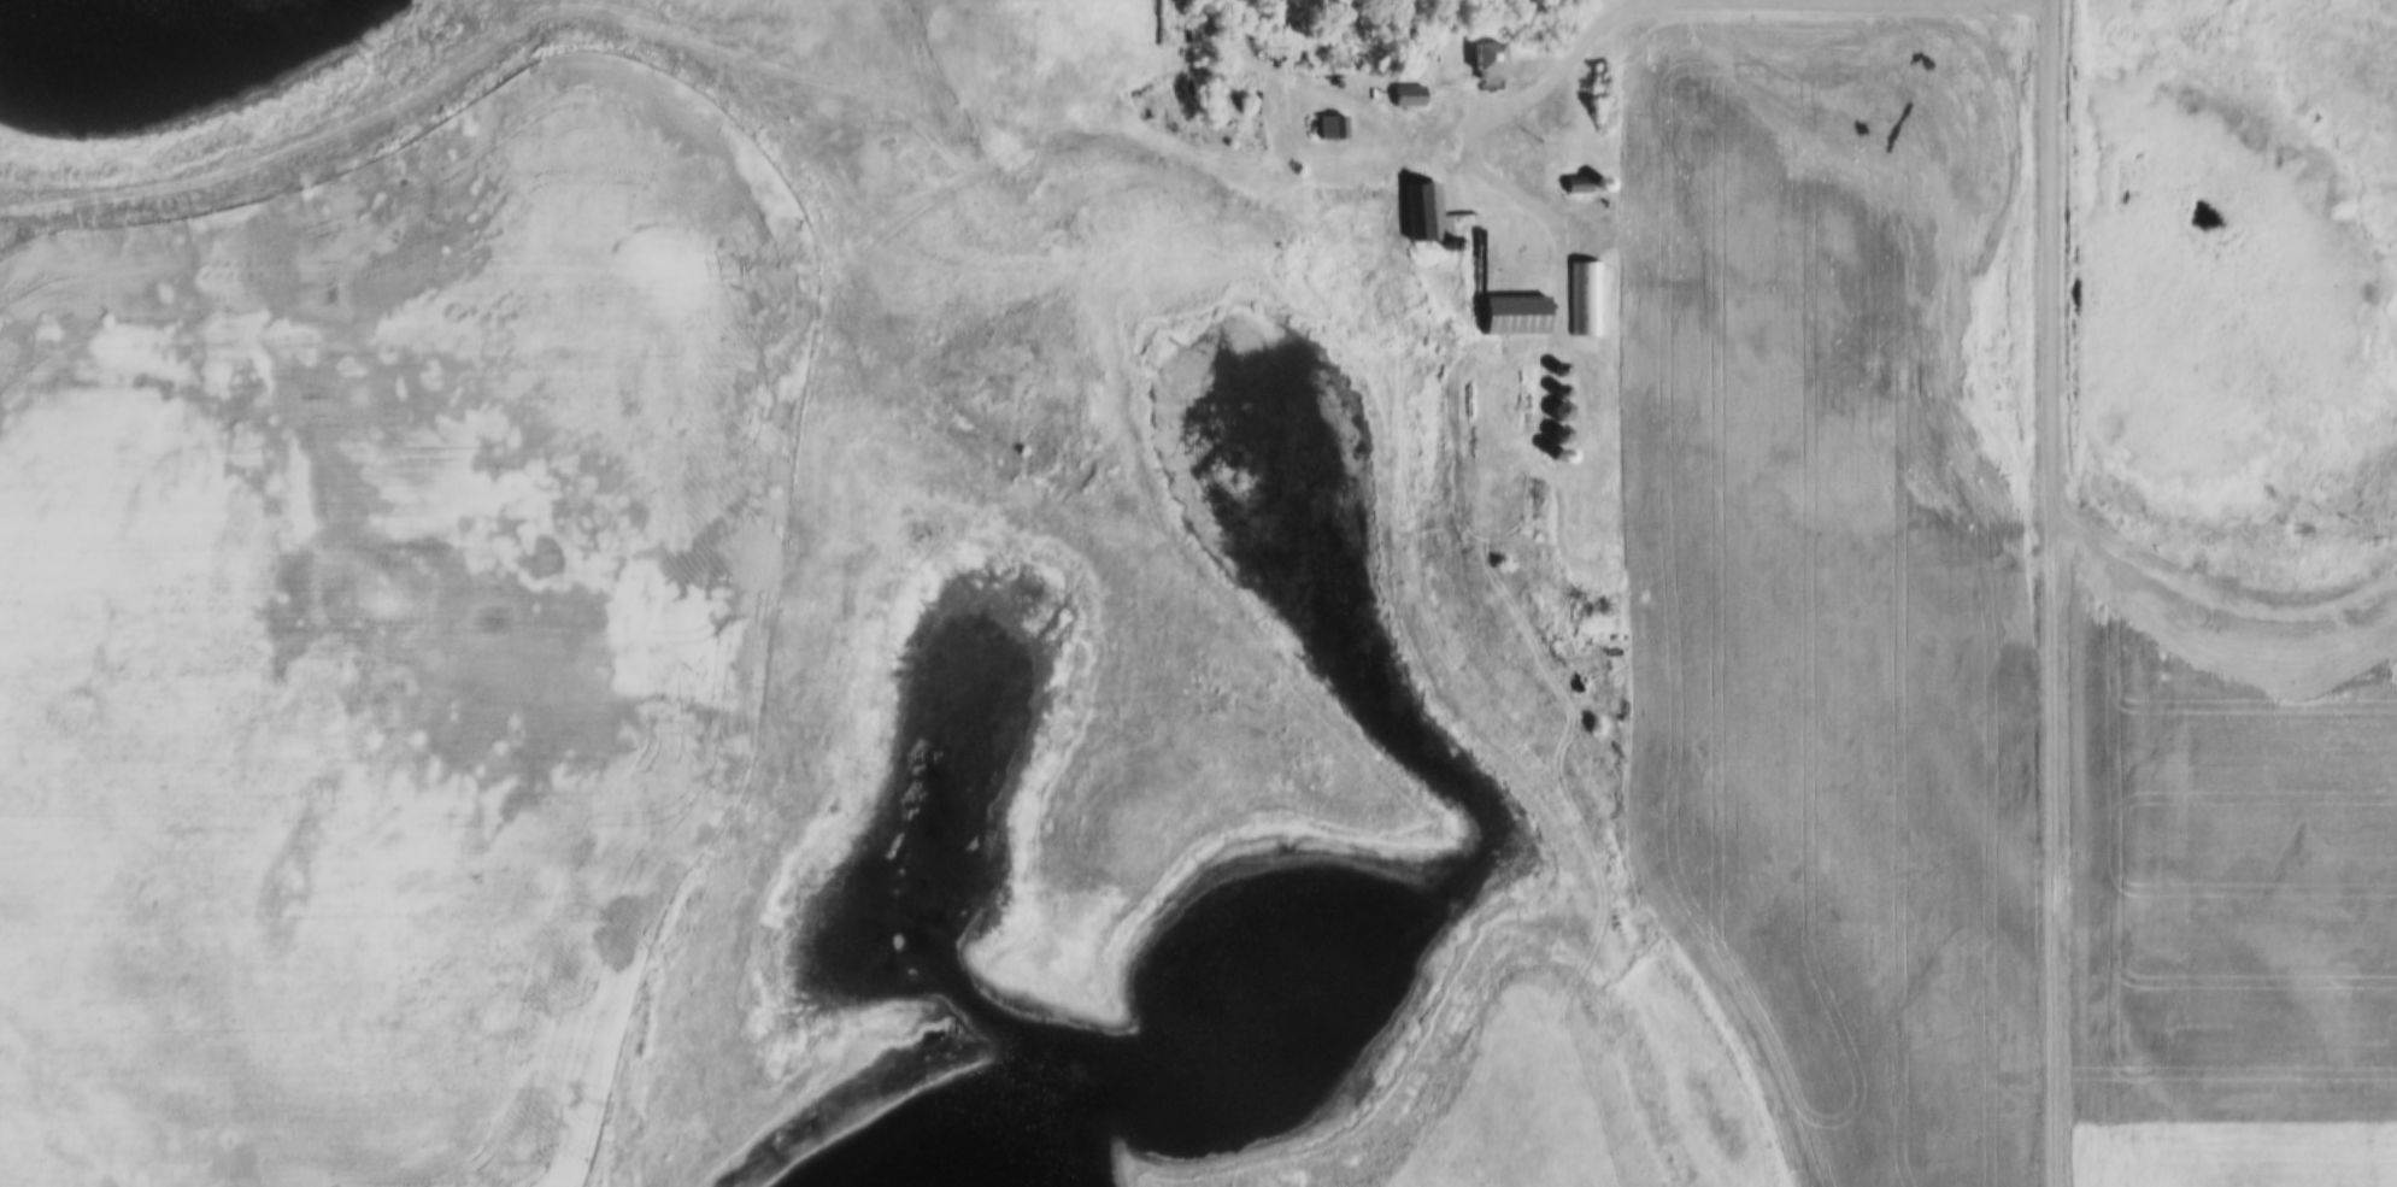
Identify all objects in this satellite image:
building: (1484, 61)
road: (1559, 76)
building: (1405, 99)
building: (1329, 129)
building: (1581, 186)
building: (1423, 216)
building: (1585, 299)
building: (1506, 317)
building: (1556, 429)
road: (2057, 593)

